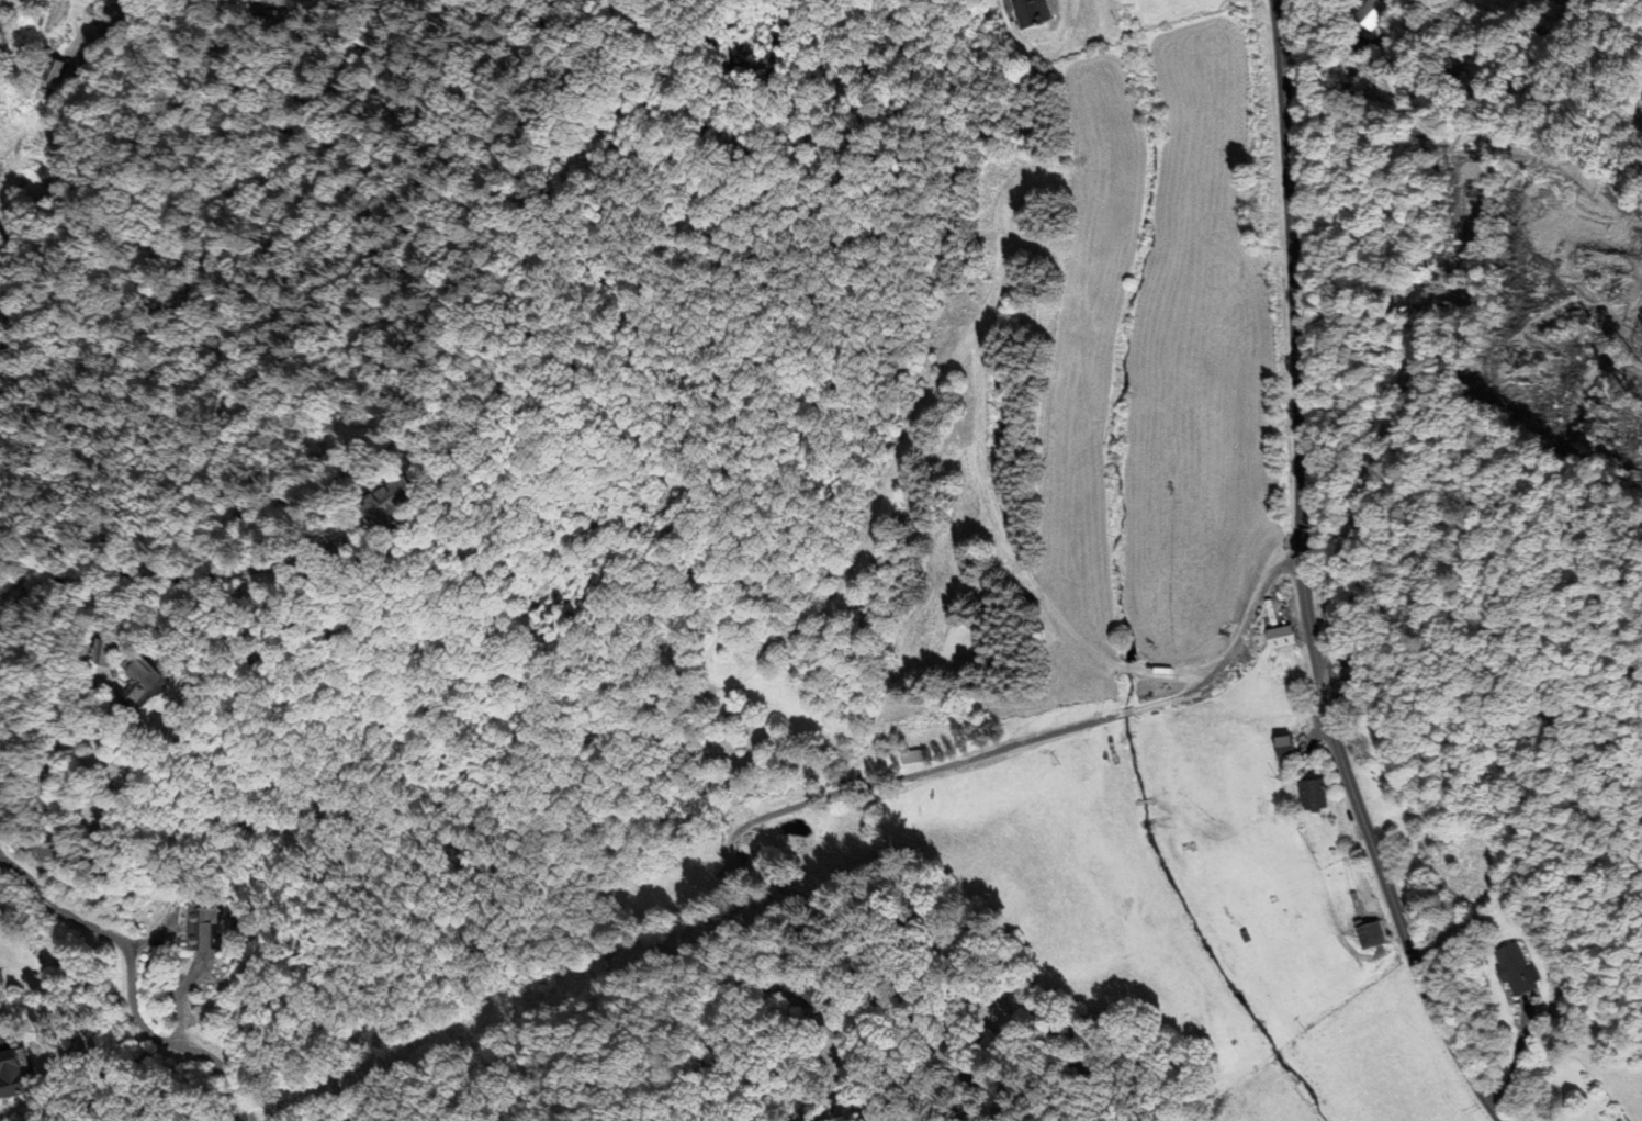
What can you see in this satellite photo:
building: (1039, 12)
road: (1621, 12)
building: (1356, 13)
building: (1637, 97)
road: (119, 574)
road: (1301, 580)
building: (1273, 635)
building: (142, 671)
building: (1302, 795)
building: (216, 923)
building: (1365, 937)
building: (1511, 969)
road: (128, 986)
building: (37, 1068)

